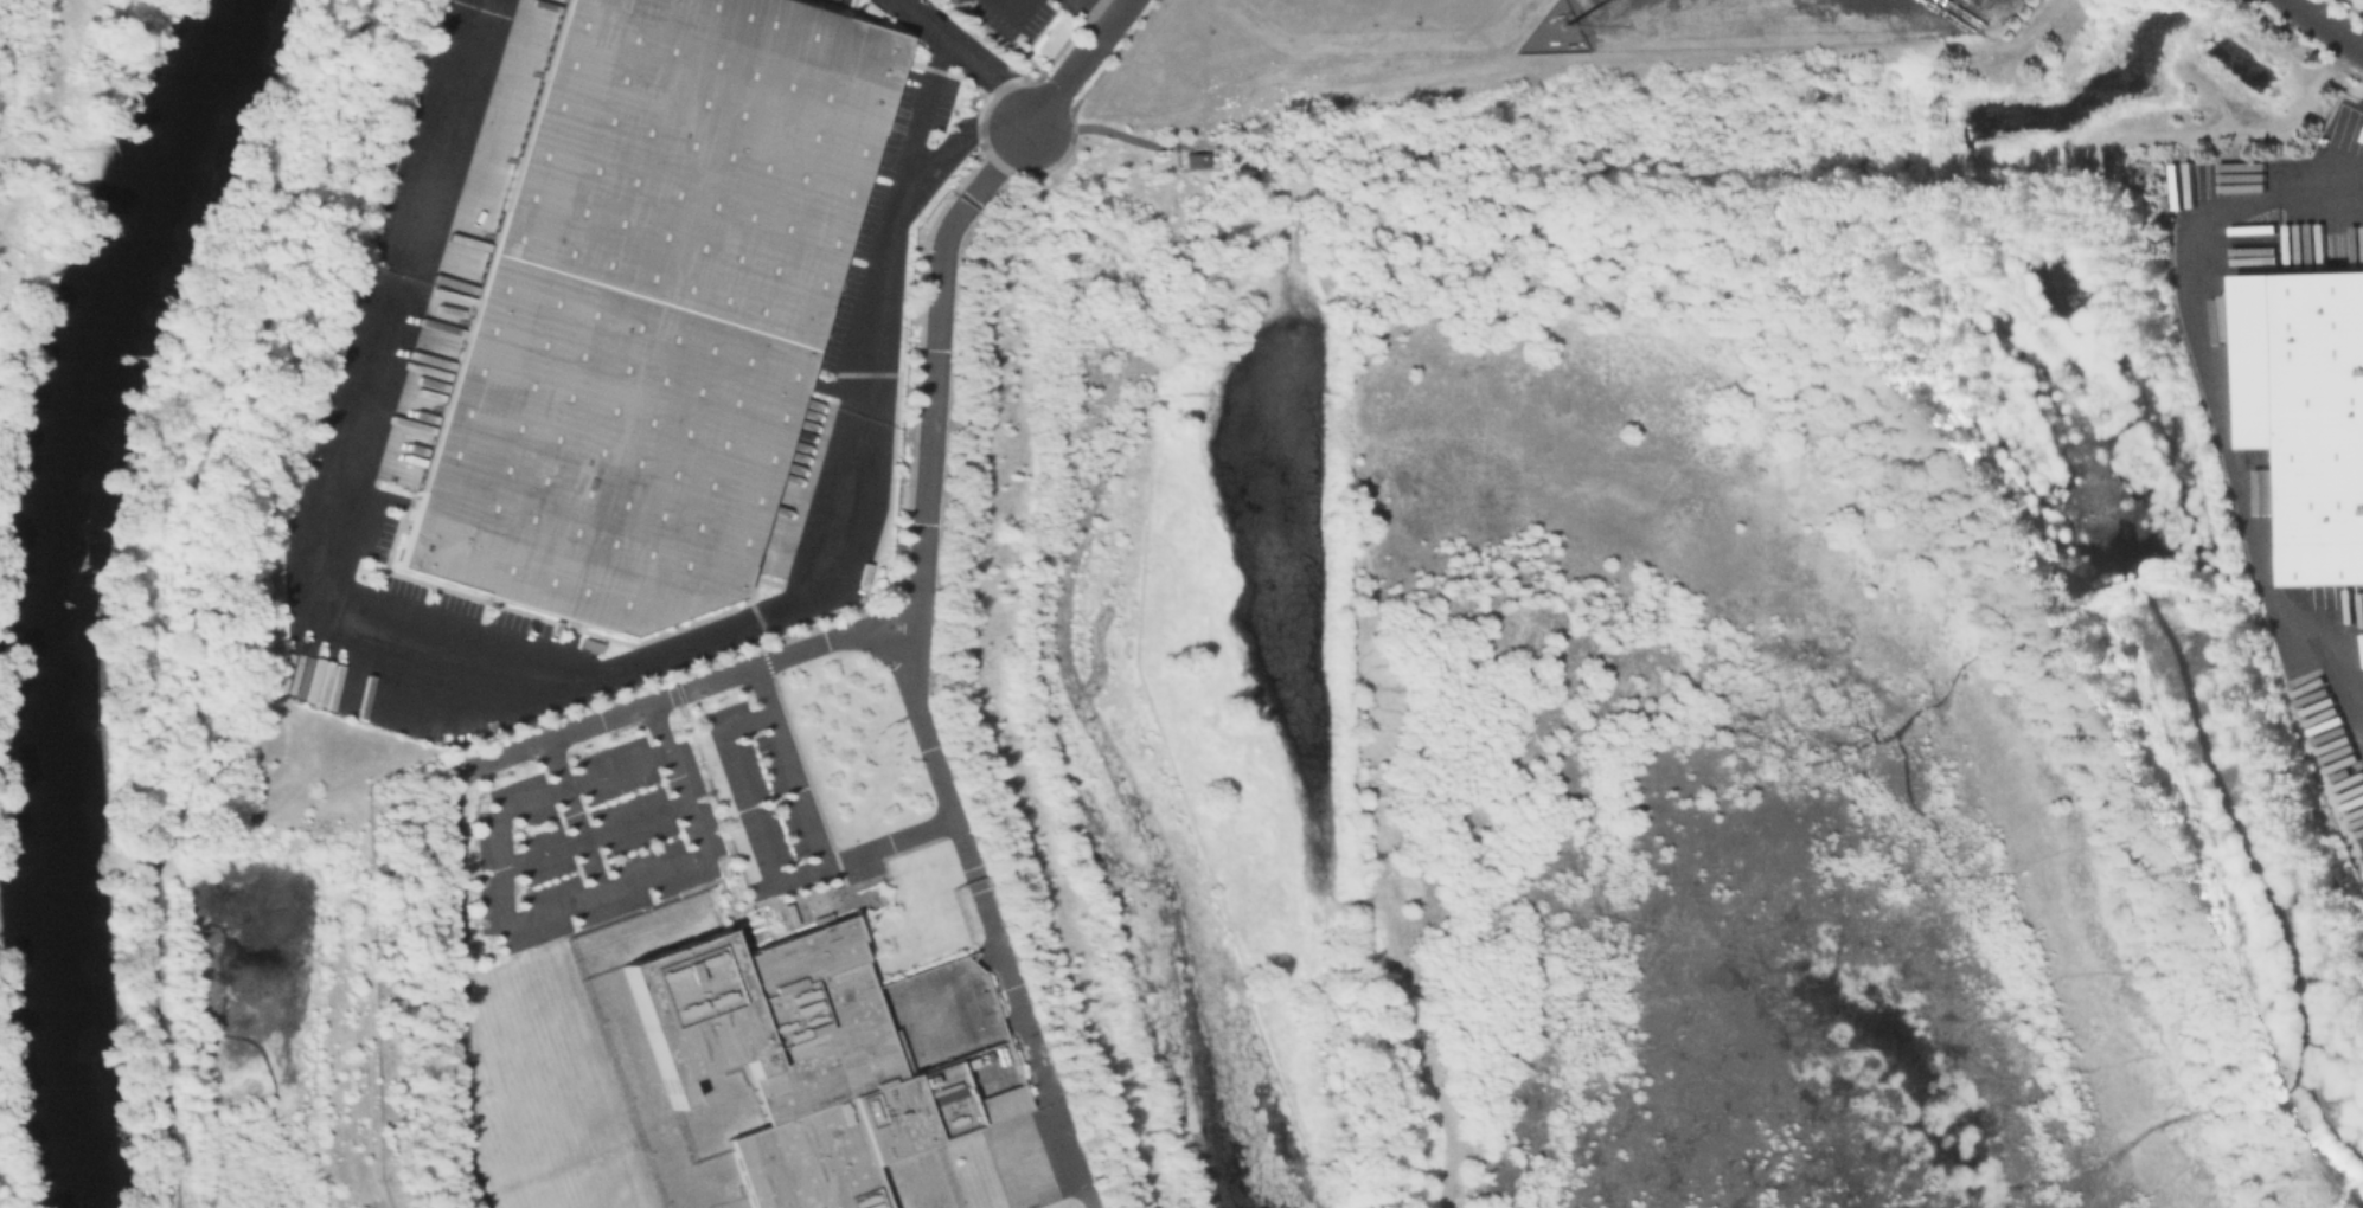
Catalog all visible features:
road: (1101, 11)
road: (2330, 23)
road: (973, 58)
road: (1081, 65)
road: (1104, 129)
road: (440, 136)
road: (958, 139)
building: (1192, 159)
road: (999, 167)
road: (2327, 193)
road: (896, 224)
building: (647, 306)
building: (2255, 360)
building: (2322, 429)
road: (2230, 437)
road: (927, 493)
road: (187, 590)
road: (501, 661)
road: (789, 765)
road: (677, 779)
road: (749, 803)
road: (574, 815)
road: (455, 835)
road: (594, 835)
road: (889, 841)
flagpole: (889, 878)
road: (504, 880)
flagpole: (879, 881)
road: (990, 915)
building: (820, 1054)

